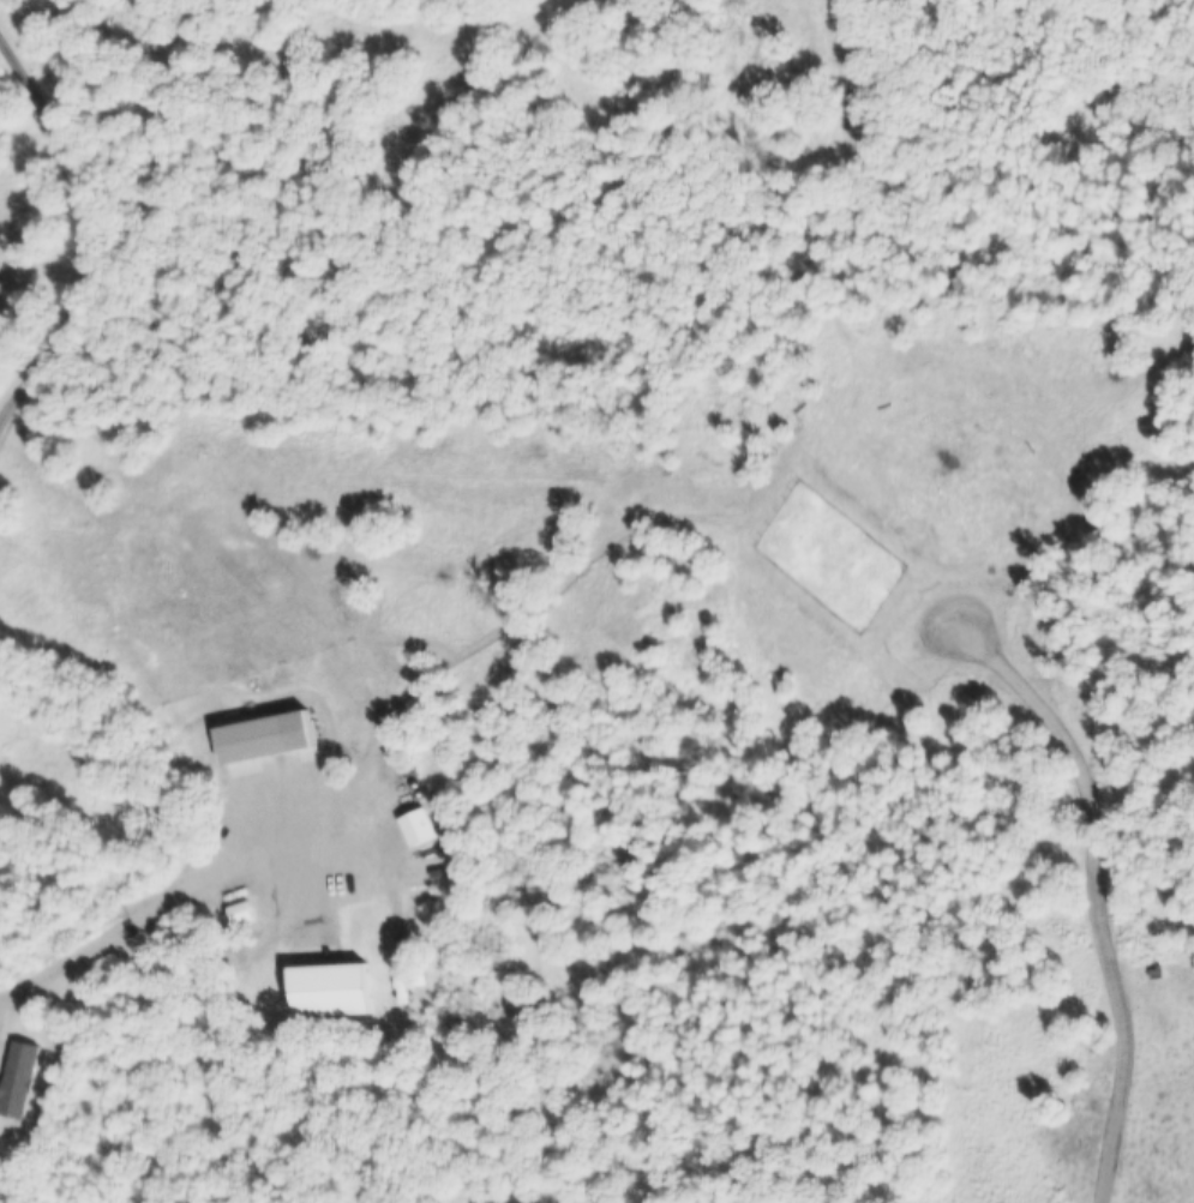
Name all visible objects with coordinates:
road: (74, 231)
road: (931, 606)
building: (257, 739)
building: (412, 830)
road: (163, 903)
road: (1102, 916)
building: (235, 919)
building: (1163, 978)
building: (328, 993)
building: (14, 1081)

